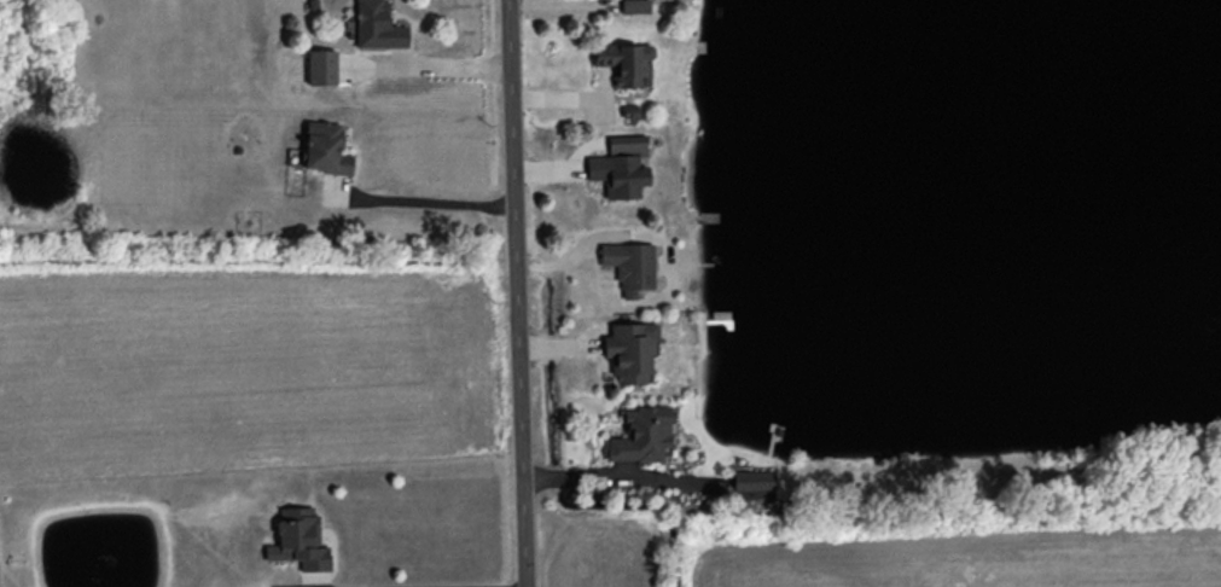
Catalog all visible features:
road: (545, 2)
building: (635, 6)
building: (378, 25)
building: (626, 63)
building: (321, 66)
road: (432, 68)
building: (627, 144)
building: (325, 147)
building: (618, 174)
road: (425, 194)
building: (630, 266)
road: (523, 292)
building: (630, 350)
building: (641, 435)
building: (754, 481)
building: (298, 539)

